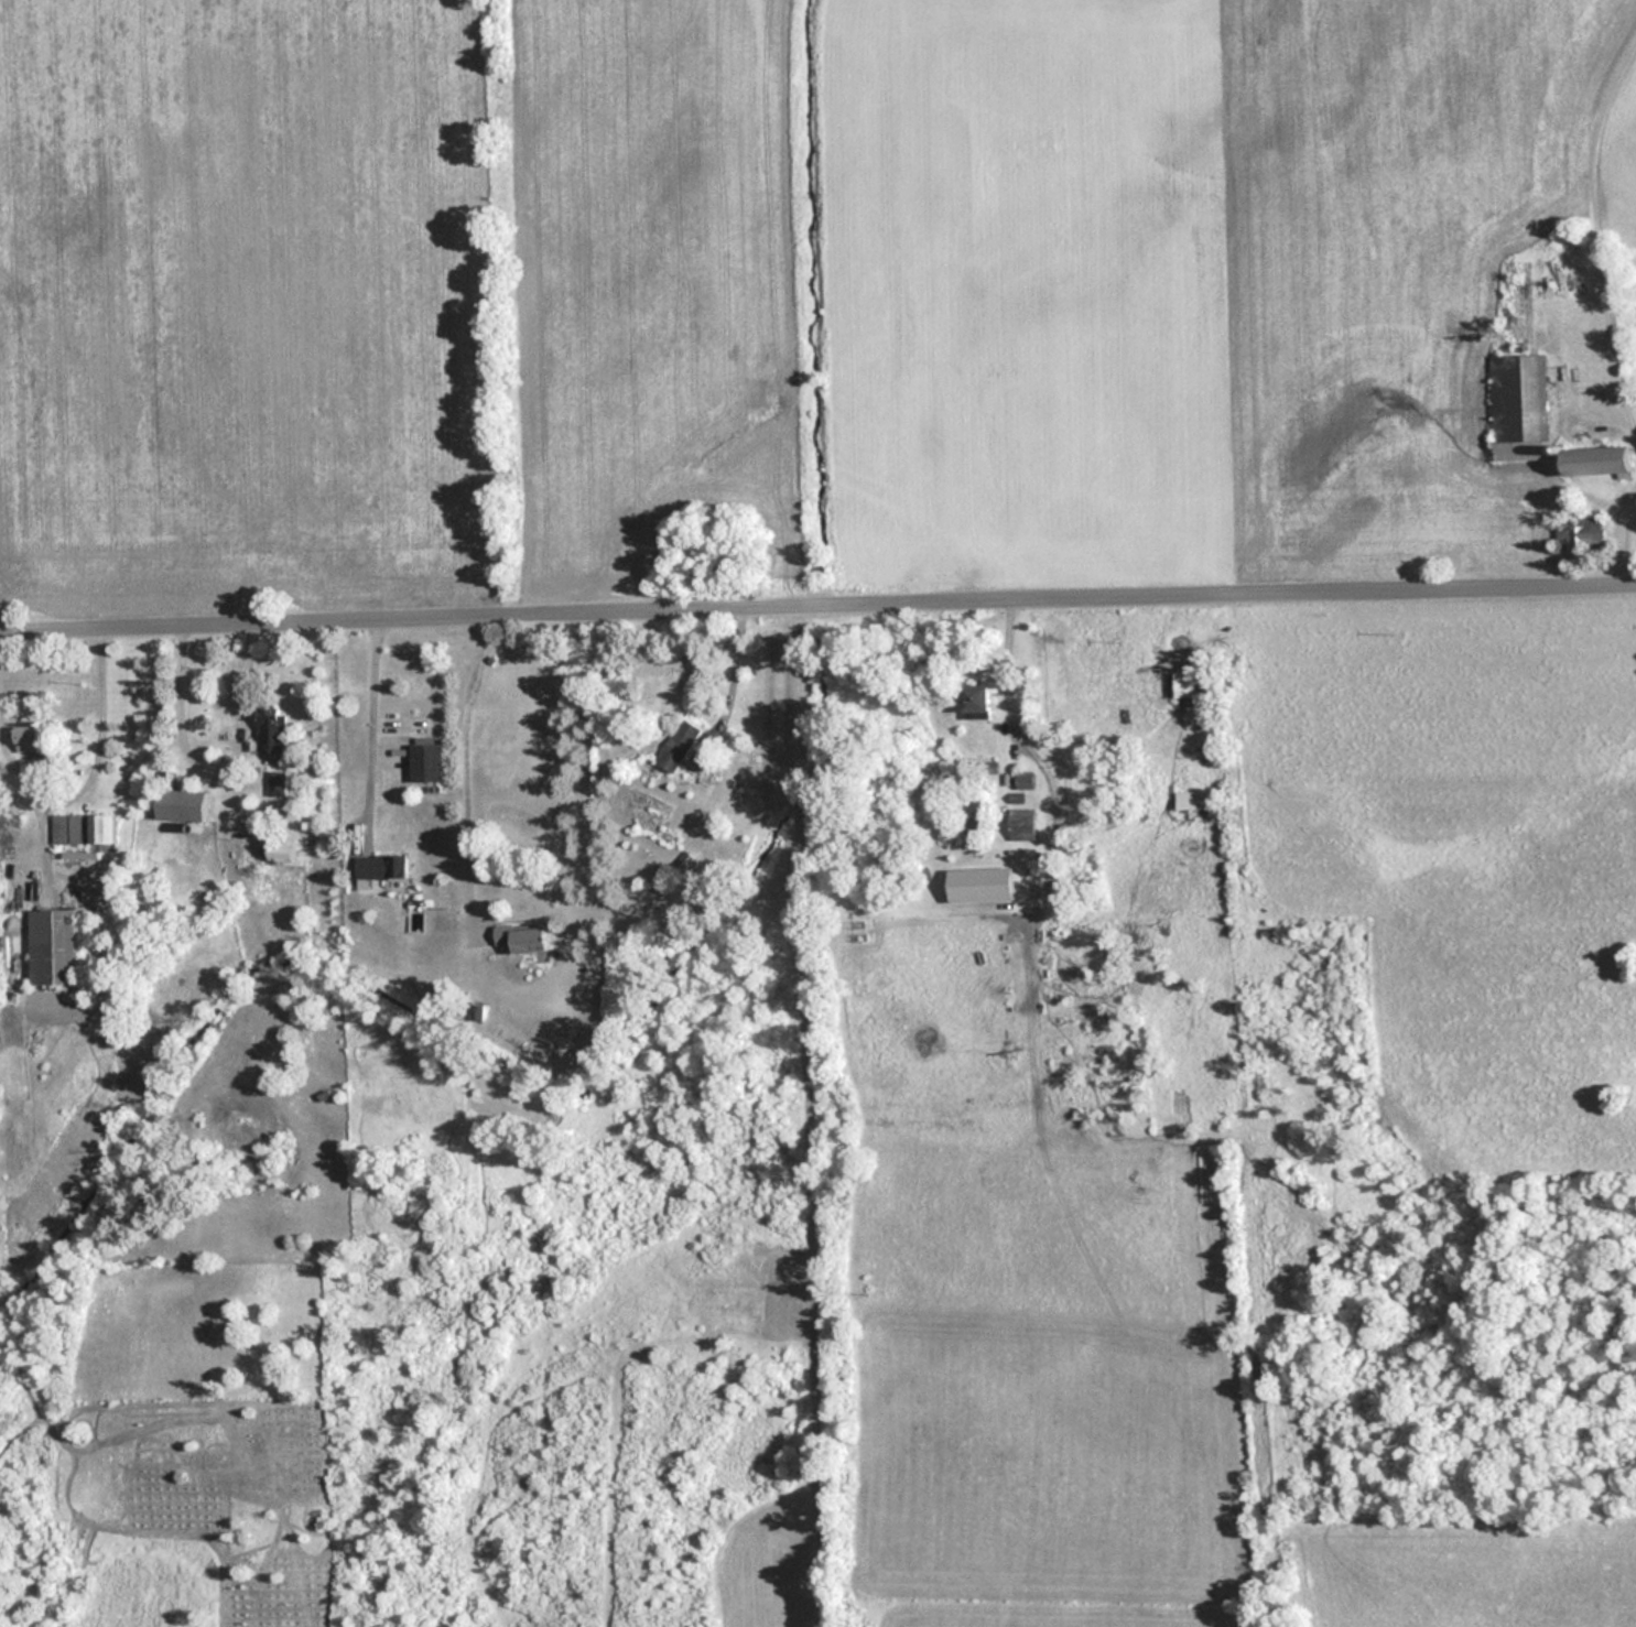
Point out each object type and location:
road: (1595, 302)
building: (1518, 406)
building: (1595, 462)
road: (1630, 489)
building: (1580, 535)
road: (817, 603)
building: (1183, 684)
building: (975, 701)
building: (271, 728)
road: (359, 730)
building: (28, 737)
building: (679, 745)
road: (1012, 747)
road: (88, 758)
building: (425, 761)
road: (455, 769)
road: (217, 775)
building: (275, 783)
building: (1189, 799)
building: (180, 804)
building: (1021, 824)
building: (82, 827)
building: (379, 866)
building: (979, 885)
building: (520, 937)
building: (52, 945)
road: (799, 1115)

